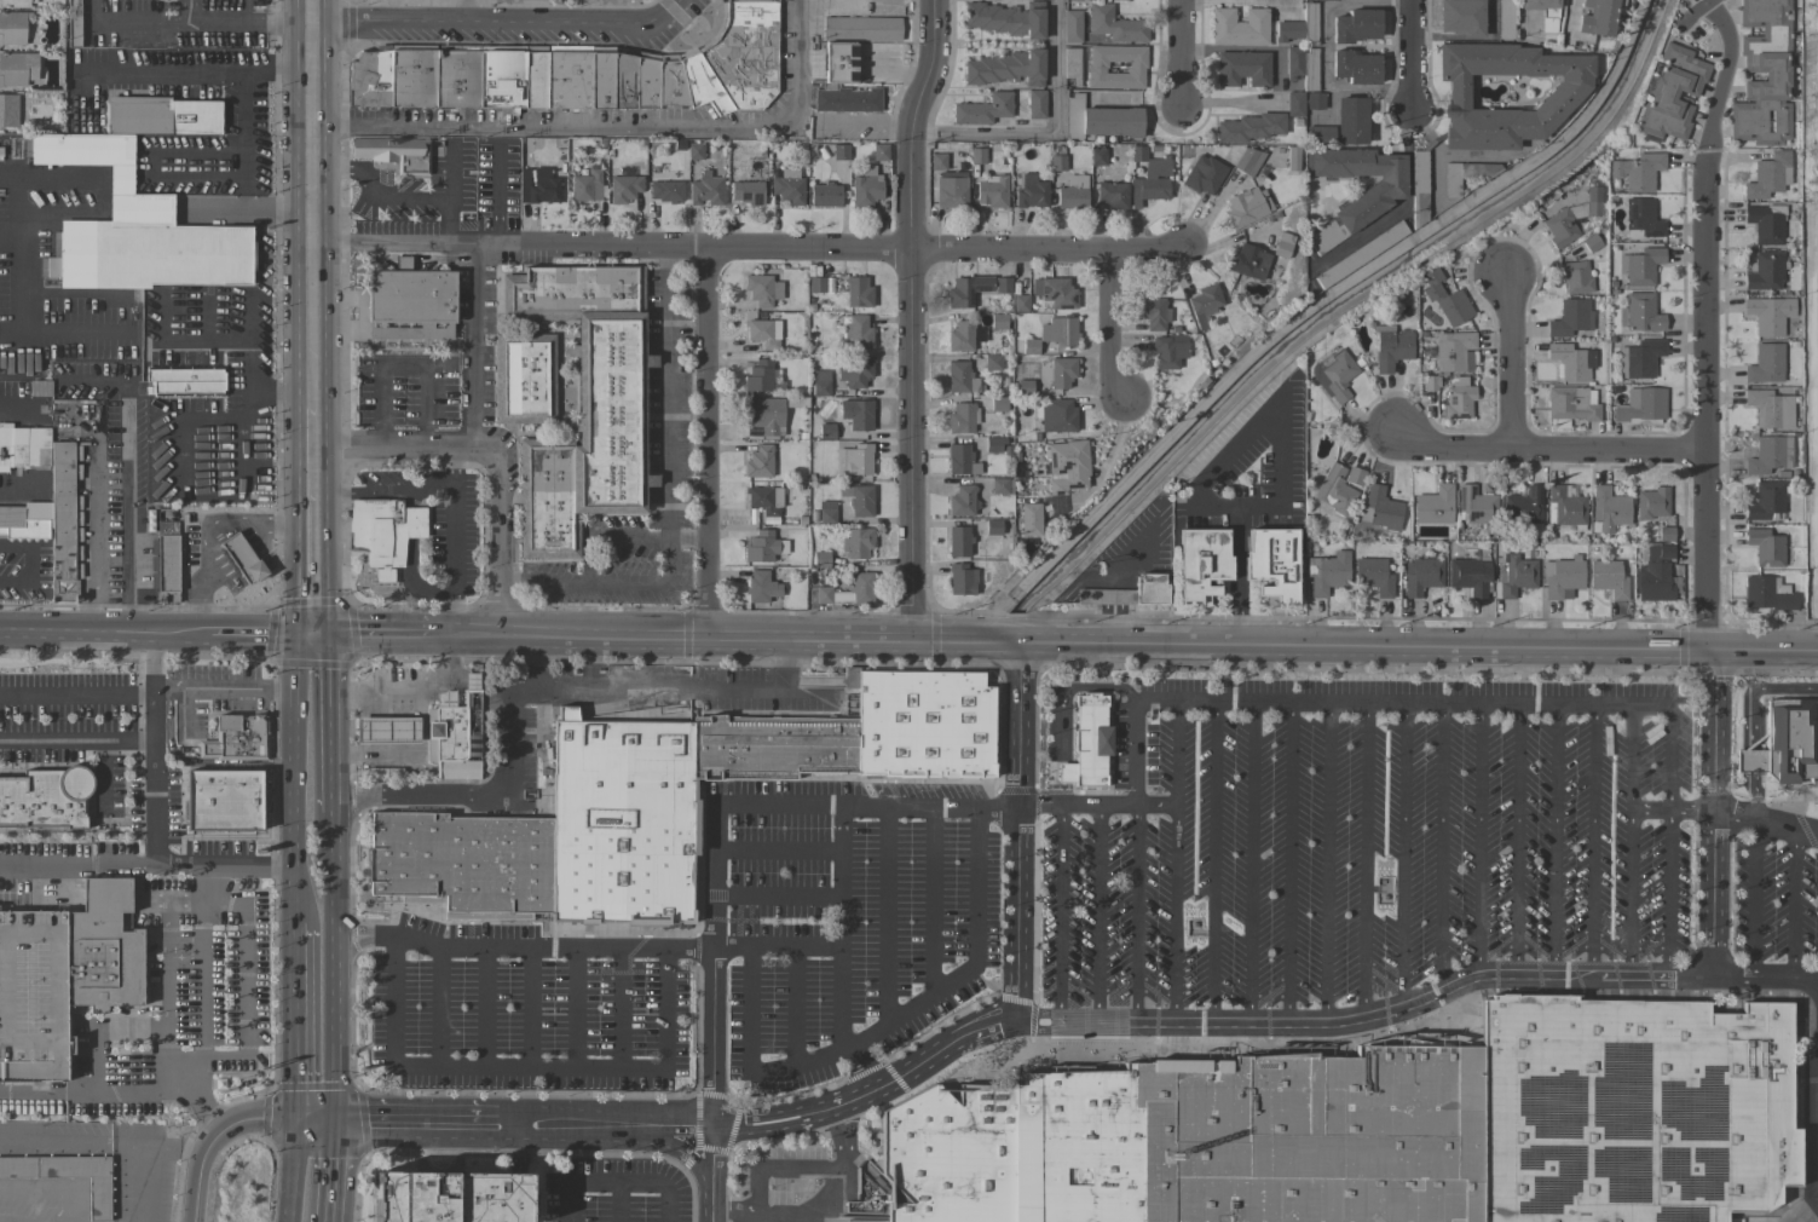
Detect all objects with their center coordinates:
building: (748, 0)
building: (1324, 0)
building: (15, 2)
building: (1543, 12)
building: (1461, 17)
road: (1564, 17)
building: (1598, 17)
building: (1005, 18)
building: (1505, 19)
building: (71, 22)
road: (242, 22)
building: (1072, 25)
building: (1115, 25)
building: (1355, 25)
building: (13, 27)
road: (516, 27)
building: (1239, 27)
building: (1299, 27)
building: (861, 28)
road: (1184, 50)
road: (1414, 52)
building: (744, 53)
building: (837, 63)
building: (1070, 65)
building: (1302, 65)
building: (1096, 67)
building: (1355, 67)
building: (1006, 68)
building: (1242, 68)
building: (12, 69)
road: (85, 74)
building: (1764, 74)
building: (414, 76)
building: (458, 77)
building: (502, 77)
building: (536, 77)
building: (570, 77)
building: (604, 77)
building: (370, 79)
building: (625, 79)
building: (647, 81)
building: (670, 81)
building: (700, 82)
park: (1810, 91)
building: (1672, 93)
building: (1564, 94)
building: (844, 99)
building: (1314, 100)
building: (1035, 104)
building: (1294, 104)
building: (983, 109)
building: (8, 110)
building: (161, 116)
road: (854, 119)
building: (1100, 120)
building: (1350, 121)
road: (242, 127)
road: (611, 127)
building: (1249, 127)
road: (1049, 133)
building: (1318, 134)
building: (693, 150)
building: (839, 151)
building: (879, 152)
building: (396, 154)
building: (976, 155)
building: (1097, 155)
building: (1291, 158)
building: (1056, 160)
building: (1247, 161)
building: (936, 162)
road: (449, 171)
building: (1638, 171)
road: (12, 174)
building: (1148, 175)
building: (1465, 175)
building: (1768, 175)
building: (1200, 179)
building: (623, 185)
building: (585, 186)
building: (787, 186)
road: (375, 188)
building: (541, 188)
building: (865, 188)
building: (1418, 188)
building: (705, 190)
building: (665, 191)
building: (950, 191)
building: (992, 191)
building: (746, 192)
building: (1029, 192)
building: (1073, 192)
road: (496, 195)
building: (825, 195)
building: (1112, 195)
road: (313, 198)
building: (1594, 201)
building: (1367, 203)
road: (1406, 204)
building: (1246, 207)
road: (90, 215)
building: (1641, 219)
road: (445, 221)
building: (1765, 223)
building: (1563, 224)
building: (134, 229)
building: (1591, 242)
building: (1282, 244)
road: (749, 253)
building: (1360, 255)
building: (1247, 261)
building: (1640, 266)
road: (25, 271)
building: (1765, 271)
building: (1575, 277)
building: (820, 284)
building: (1002, 286)
building: (761, 289)
building: (966, 290)
building: (858, 292)
building: (1054, 293)
building: (1444, 298)
building: (410, 302)
building: (1020, 302)
building: (1204, 304)
building: (1154, 313)
building: (1639, 313)
building: (1768, 315)
road: (914, 318)
building: (1570, 318)
building: (998, 321)
road: (208, 322)
road: (1110, 329)
road: (76, 332)
building: (856, 332)
building: (762, 333)
building: (1052, 334)
building: (960, 335)
road: (249, 344)
road: (1706, 344)
road: (177, 348)
road: (474, 350)
building: (1390, 350)
building: (1166, 352)
building: (1453, 352)
building: (1639, 358)
building: (1570, 361)
building: (991, 362)
road: (1516, 363)
road: (400, 364)
building: (1765, 364)
building: (854, 371)
building: (1061, 371)
building: (184, 374)
building: (1335, 375)
building: (758, 376)
building: (960, 377)
building: (524, 379)
building: (1430, 382)
building: (820, 384)
building: (1023, 387)
building: (185, 388)
building: (1458, 399)
building: (796, 402)
road: (16, 403)
road: (316, 404)
building: (584, 404)
building: (998, 404)
building: (1569, 405)
building: (1641, 408)
building: (1770, 408)
building: (860, 415)
building: (1055, 415)
building: (764, 416)
building: (960, 417)
road: (215, 419)
building: (825, 431)
road: (710, 444)
building: (993, 444)
road: (247, 445)
building: (23, 446)
road: (1283, 446)
road: (204, 449)
road: (1548, 453)
road: (500, 454)
building: (1768, 455)
building: (858, 459)
building: (959, 460)
building: (758, 461)
building: (1069, 469)
road: (125, 474)
building: (1354, 475)
building: (999, 486)
building: (1334, 490)
road: (383, 492)
road: (666, 498)
building: (764, 500)
building: (858, 500)
building: (960, 501)
building: (1766, 502)
building: (1652, 503)
building: (1476, 505)
building: (1433, 506)
building: (1523, 506)
building: (1565, 507)
building: (1056, 508)
building: (1380, 509)
building: (1608, 509)
building: (826, 513)
road: (265, 518)
building: (1028, 519)
building: (64, 520)
building: (25, 521)
road: (316, 523)
road: (294, 524)
building: (992, 528)
building: (383, 534)
building: (1666, 534)
road: (688, 538)
building: (958, 541)
building: (856, 543)
road: (449, 544)
road: (92, 546)
road: (203, 546)
building: (763, 547)
building: (1765, 547)
road: (238, 553)
building: (242, 559)
building: (820, 559)
road: (30, 561)
building: (165, 563)
building: (1201, 564)
building: (1272, 564)
building: (1327, 572)
building: (1373, 576)
building: (1421, 576)
building: (1468, 576)
building: (1655, 576)
building: (1514, 577)
building: (1562, 577)
building: (1608, 578)
building: (962, 580)
building: (760, 587)
building: (848, 592)
building: (1127, 593)
building: (1767, 593)
road: (196, 596)
road: (104, 634)
road: (261, 636)
traffic signals: (316, 636)
road: (374, 636)
road: (1124, 641)
road: (152, 663)
road: (683, 687)
road: (223, 690)
road: (1756, 691)
road: (409, 697)
road: (1291, 698)
road: (151, 715)
building: (865, 717)
road: (330, 722)
building: (906, 726)
building: (386, 730)
building: (963, 730)
building: (448, 732)
building: (237, 738)
building: (1086, 743)
building: (1785, 743)
building: (715, 747)
building: (699, 748)
building: (733, 748)
building: (752, 748)
building: (773, 748)
building: (833, 749)
road: (1175, 751)
road: (404, 755)
building: (629, 761)
road: (1749, 761)
road: (294, 776)
road: (504, 794)
road: (1755, 795)
building: (45, 799)
building: (223, 800)
road: (1153, 805)
road: (711, 807)
road: (1647, 808)
road: (1689, 808)
road: (1710, 813)
road: (1764, 822)
road: (1017, 834)
road: (1477, 838)
road: (1516, 838)
road: (1554, 838)
road: (1592, 838)
road: (1627, 838)
road: (1667, 838)
road: (1439, 846)
road: (775, 849)
road: (1403, 853)
building: (410, 854)
building: (614, 858)
road: (1363, 859)
building: (467, 860)
building: (521, 861)
road: (1212, 861)
road: (1249, 863)
road: (1288, 863)
road: (1326, 863)
road: (163, 864)
road: (123, 865)
road: (45, 866)
building: (375, 870)
building: (498, 895)
road: (775, 897)
road: (930, 898)
road: (1753, 899)
building: (454, 900)
road: (1793, 903)
road: (885, 912)
road: (1136, 915)
road: (1058, 916)
road: (1097, 916)
road: (1173, 916)
road: (838, 926)
road: (521, 949)
road: (775, 949)
road: (974, 959)
road: (333, 964)
building: (63, 975)
road: (244, 985)
road: (793, 1005)
road: (198, 1007)
road: (437, 1007)
road: (484, 1008)
road: (529, 1008)
road: (573, 1008)
road: (619, 1008)
road: (294, 1021)
road: (1070, 1027)
road: (749, 1061)
road: (524, 1067)
road: (855, 1071)
road: (93, 1090)
traffic signals: (294, 1119)
traffic signals: (334, 1119)
building: (1431, 1125)
road: (229, 1126)
road: (1807, 1126)
road: (514, 1128)
road: (70, 1140)
road: (640, 1142)
road: (173, 1148)
road: (518, 1153)
building: (950, 1154)
road: (712, 1165)
road: (778, 1166)
road: (294, 1170)
road: (333, 1170)
building: (65, 1176)
road: (140, 1183)
road: (614, 1183)
road: (829, 1189)
road: (516, 1195)
building: (450, 1197)
road: (617, 1203)
road: (732, 1210)
road: (710, 1216)

